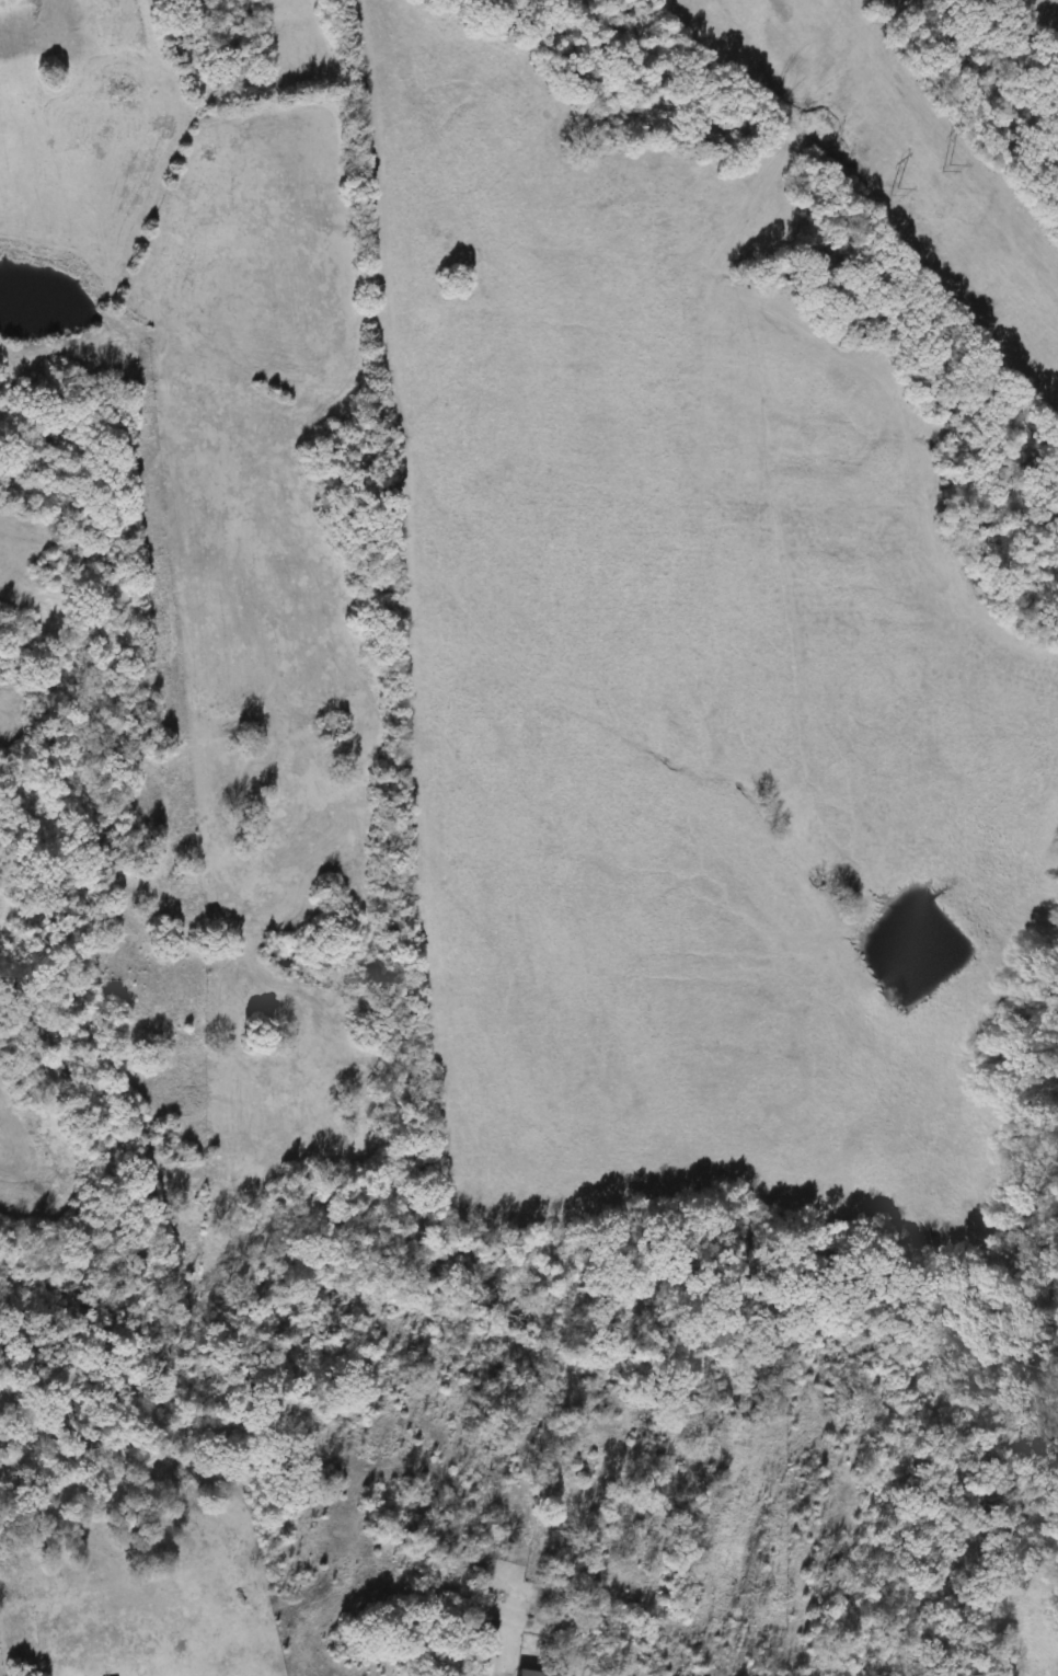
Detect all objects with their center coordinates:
power tower: (933, 163)
power tower: (879, 192)
park: (0, 1664)
building: (524, 1673)

